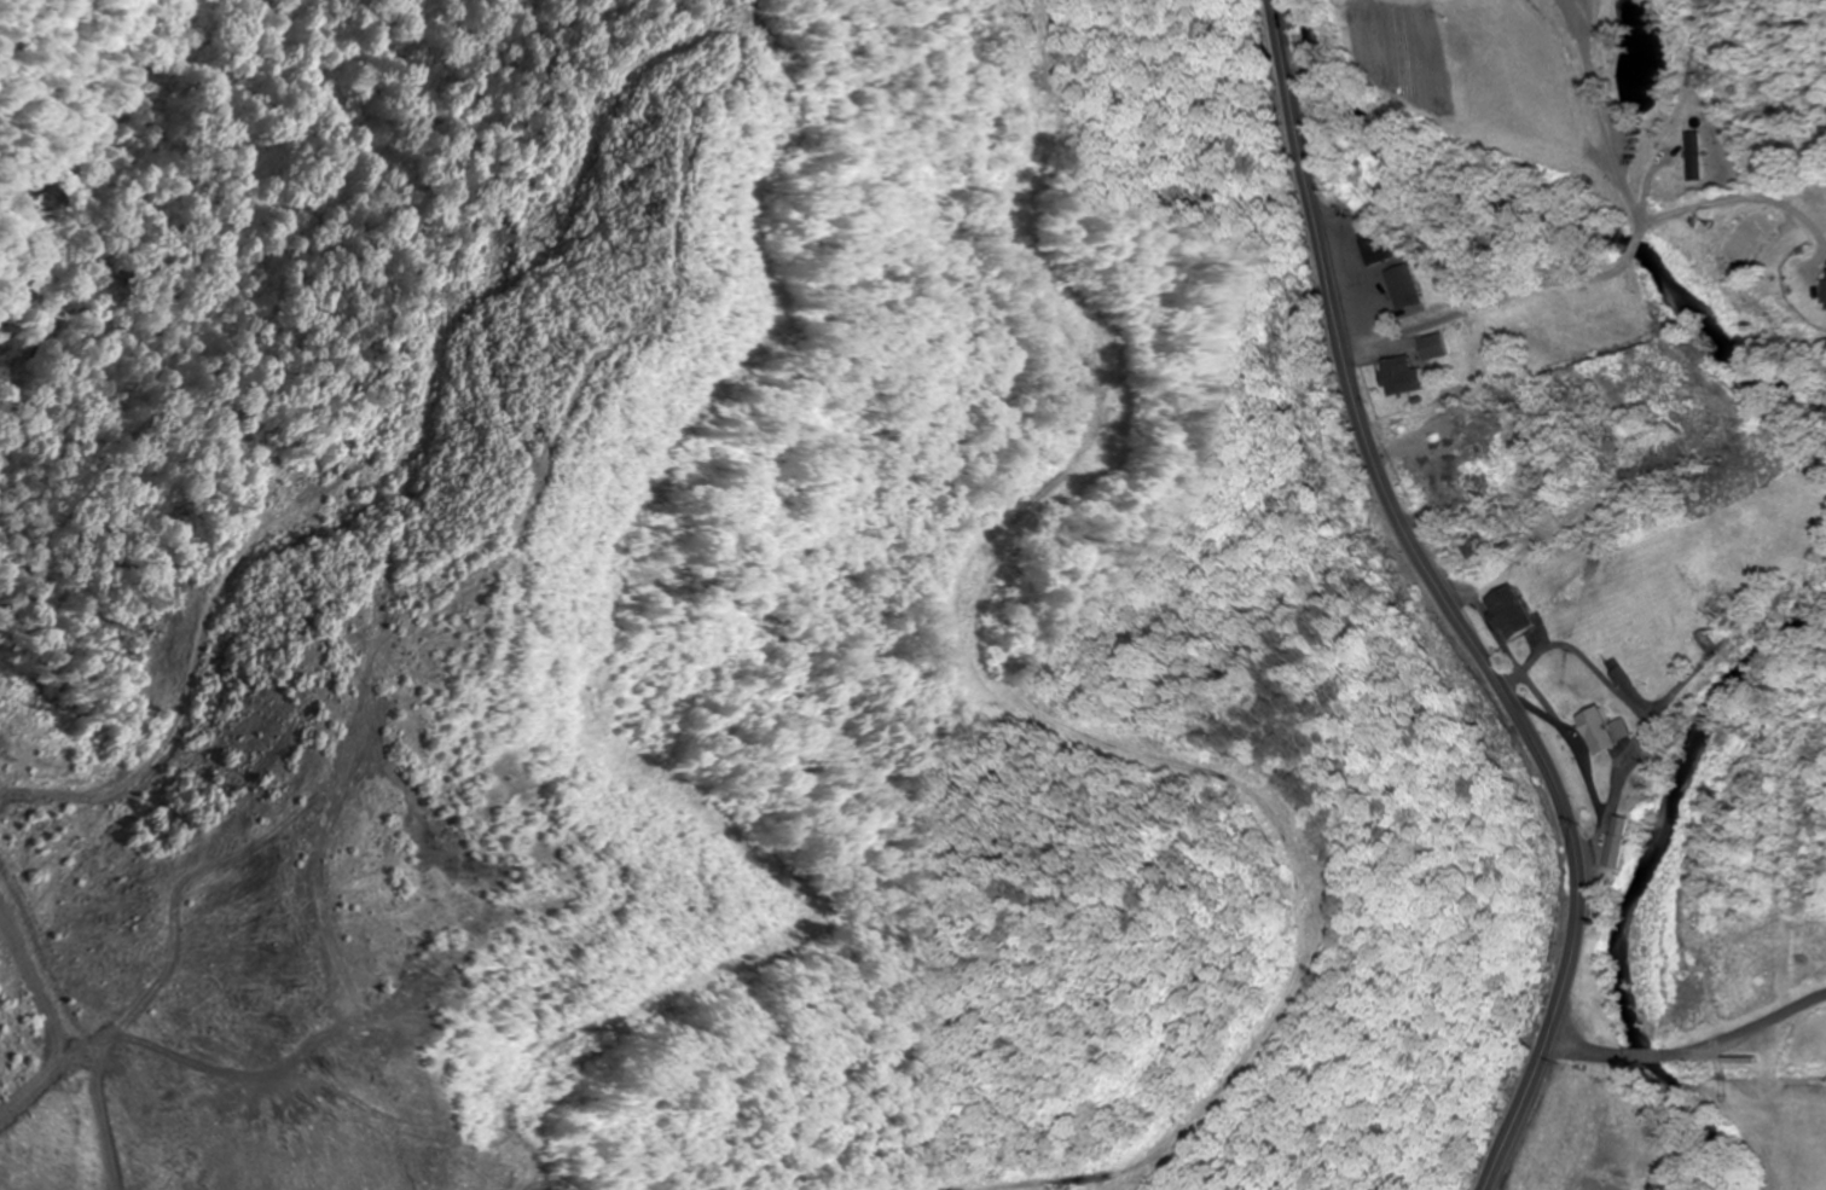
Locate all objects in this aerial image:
road: (1584, 19)
building: (1461, 30)
road: (1606, 130)
building: (1673, 164)
road: (1718, 198)
building: (1376, 245)
building: (1403, 285)
road: (1507, 297)
building: (1431, 346)
building: (1398, 376)
building: (1471, 551)
road: (1447, 605)
building: (1505, 611)
building: (1619, 728)
building: (1594, 730)
building: (1622, 1111)
building: (1564, 1183)
building: (1640, 1189)

